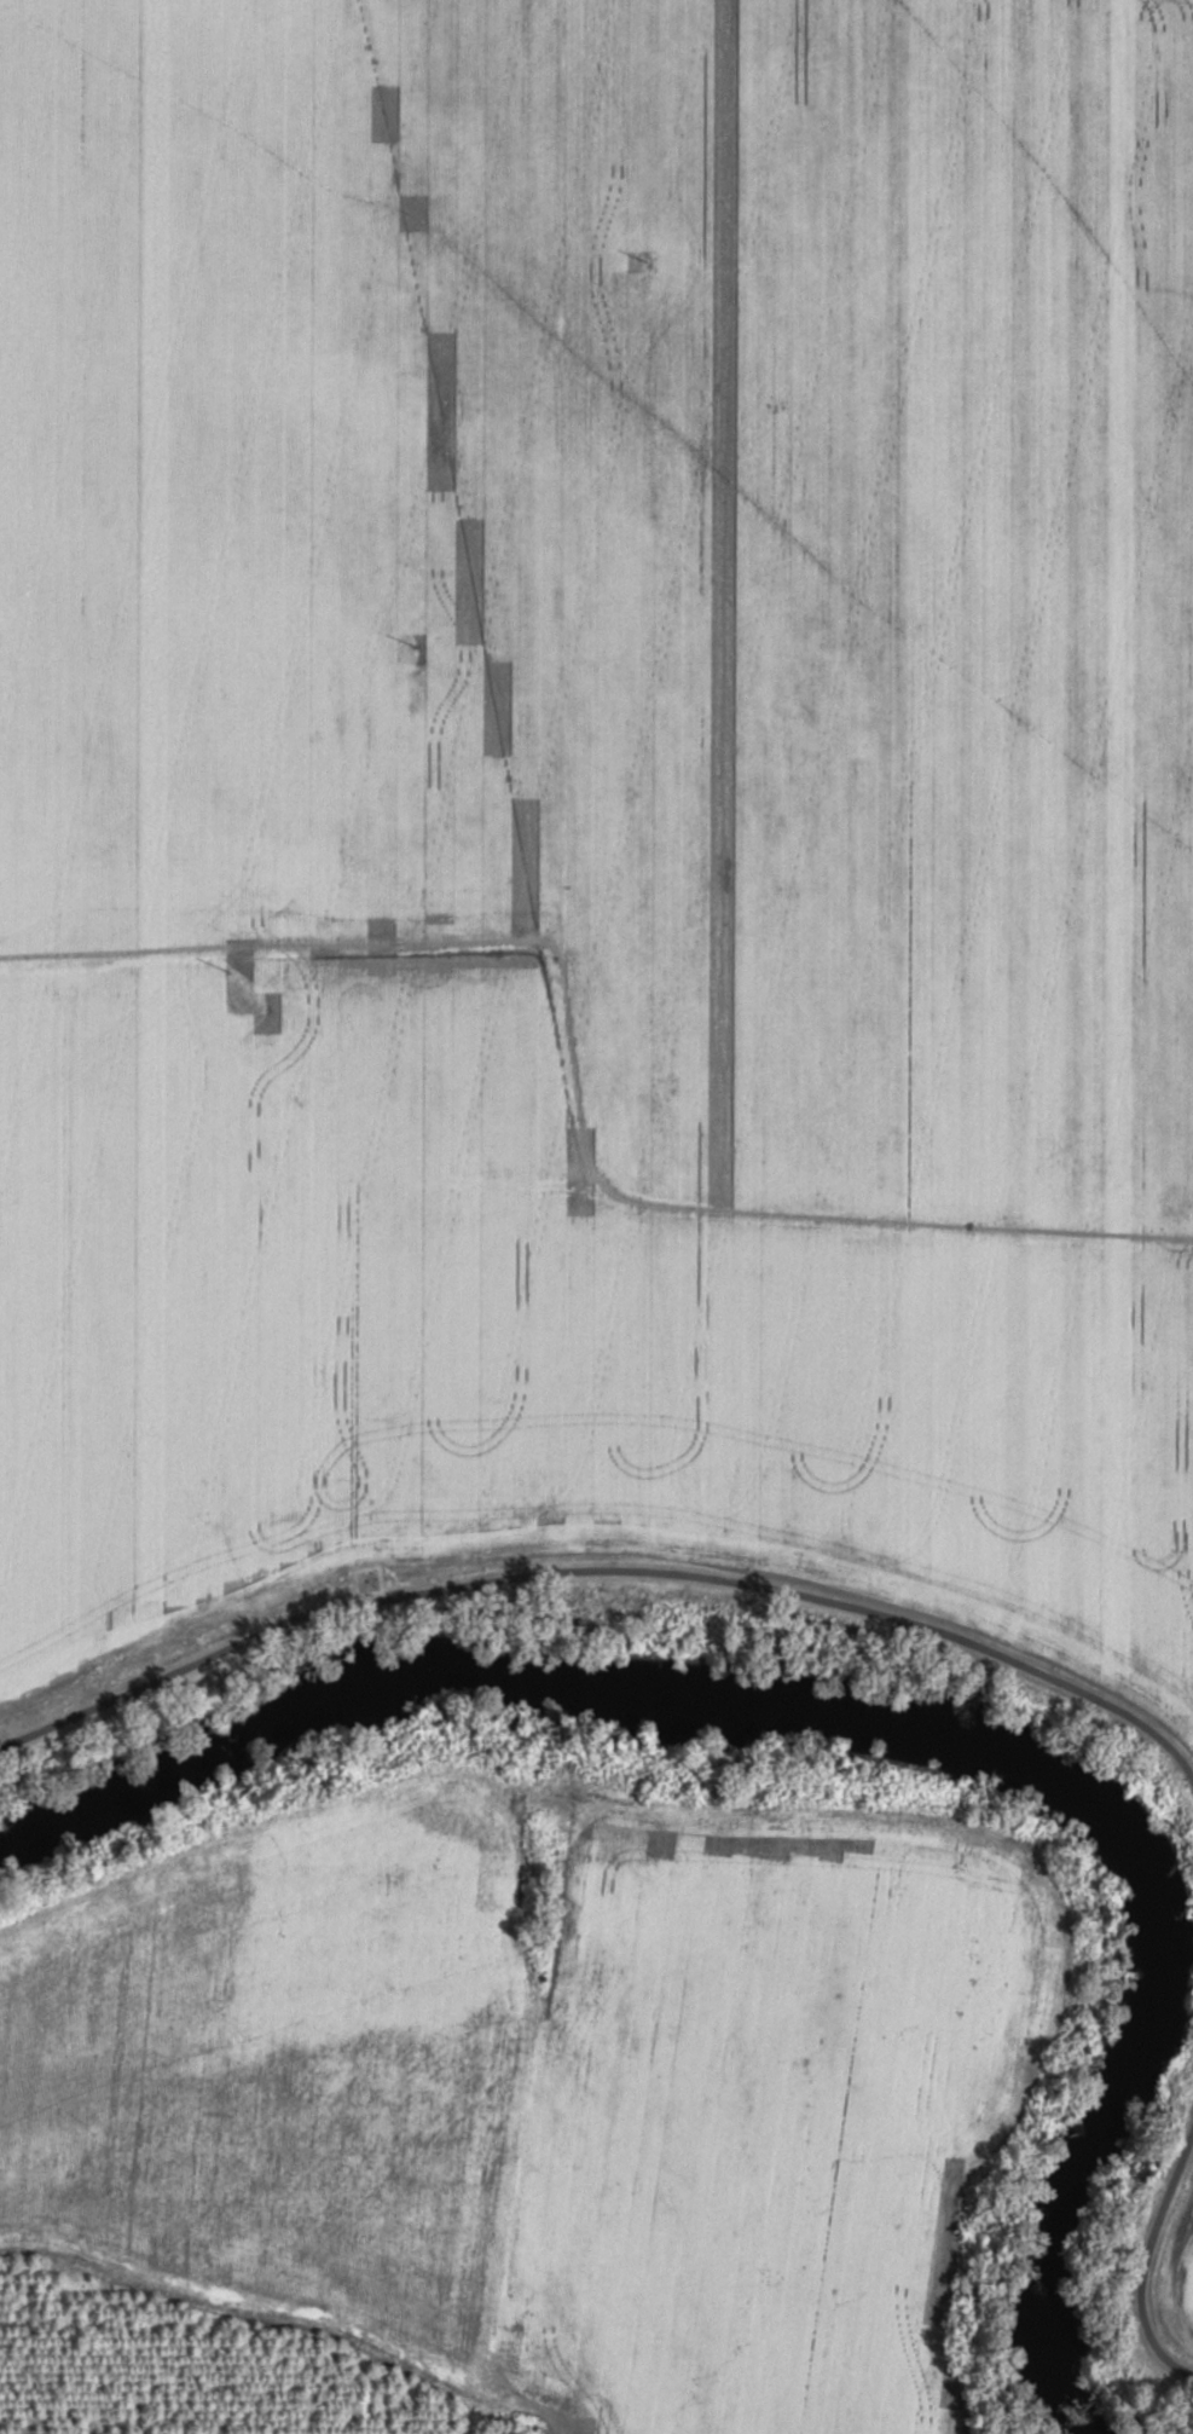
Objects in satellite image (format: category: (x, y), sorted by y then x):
road: (574, 1091)

